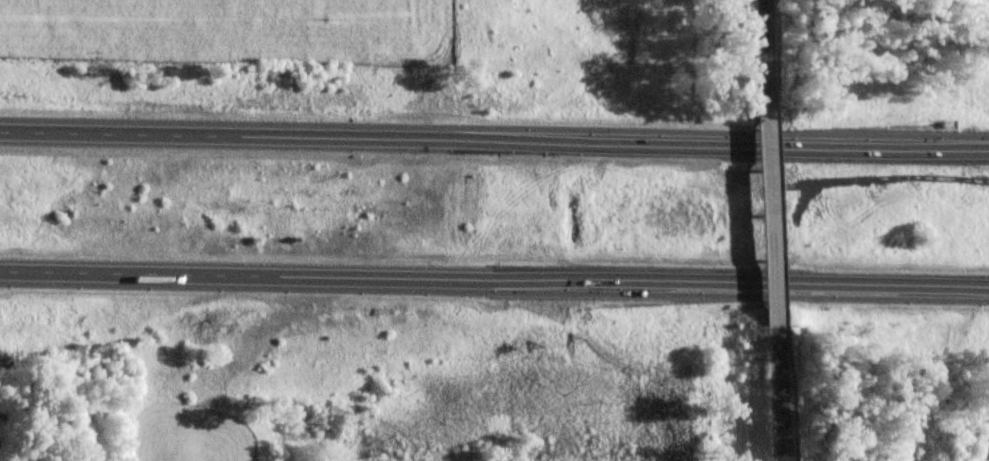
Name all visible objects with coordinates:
road: (764, 51)
road: (494, 138)
road: (772, 215)
road: (494, 279)
road: (780, 394)

